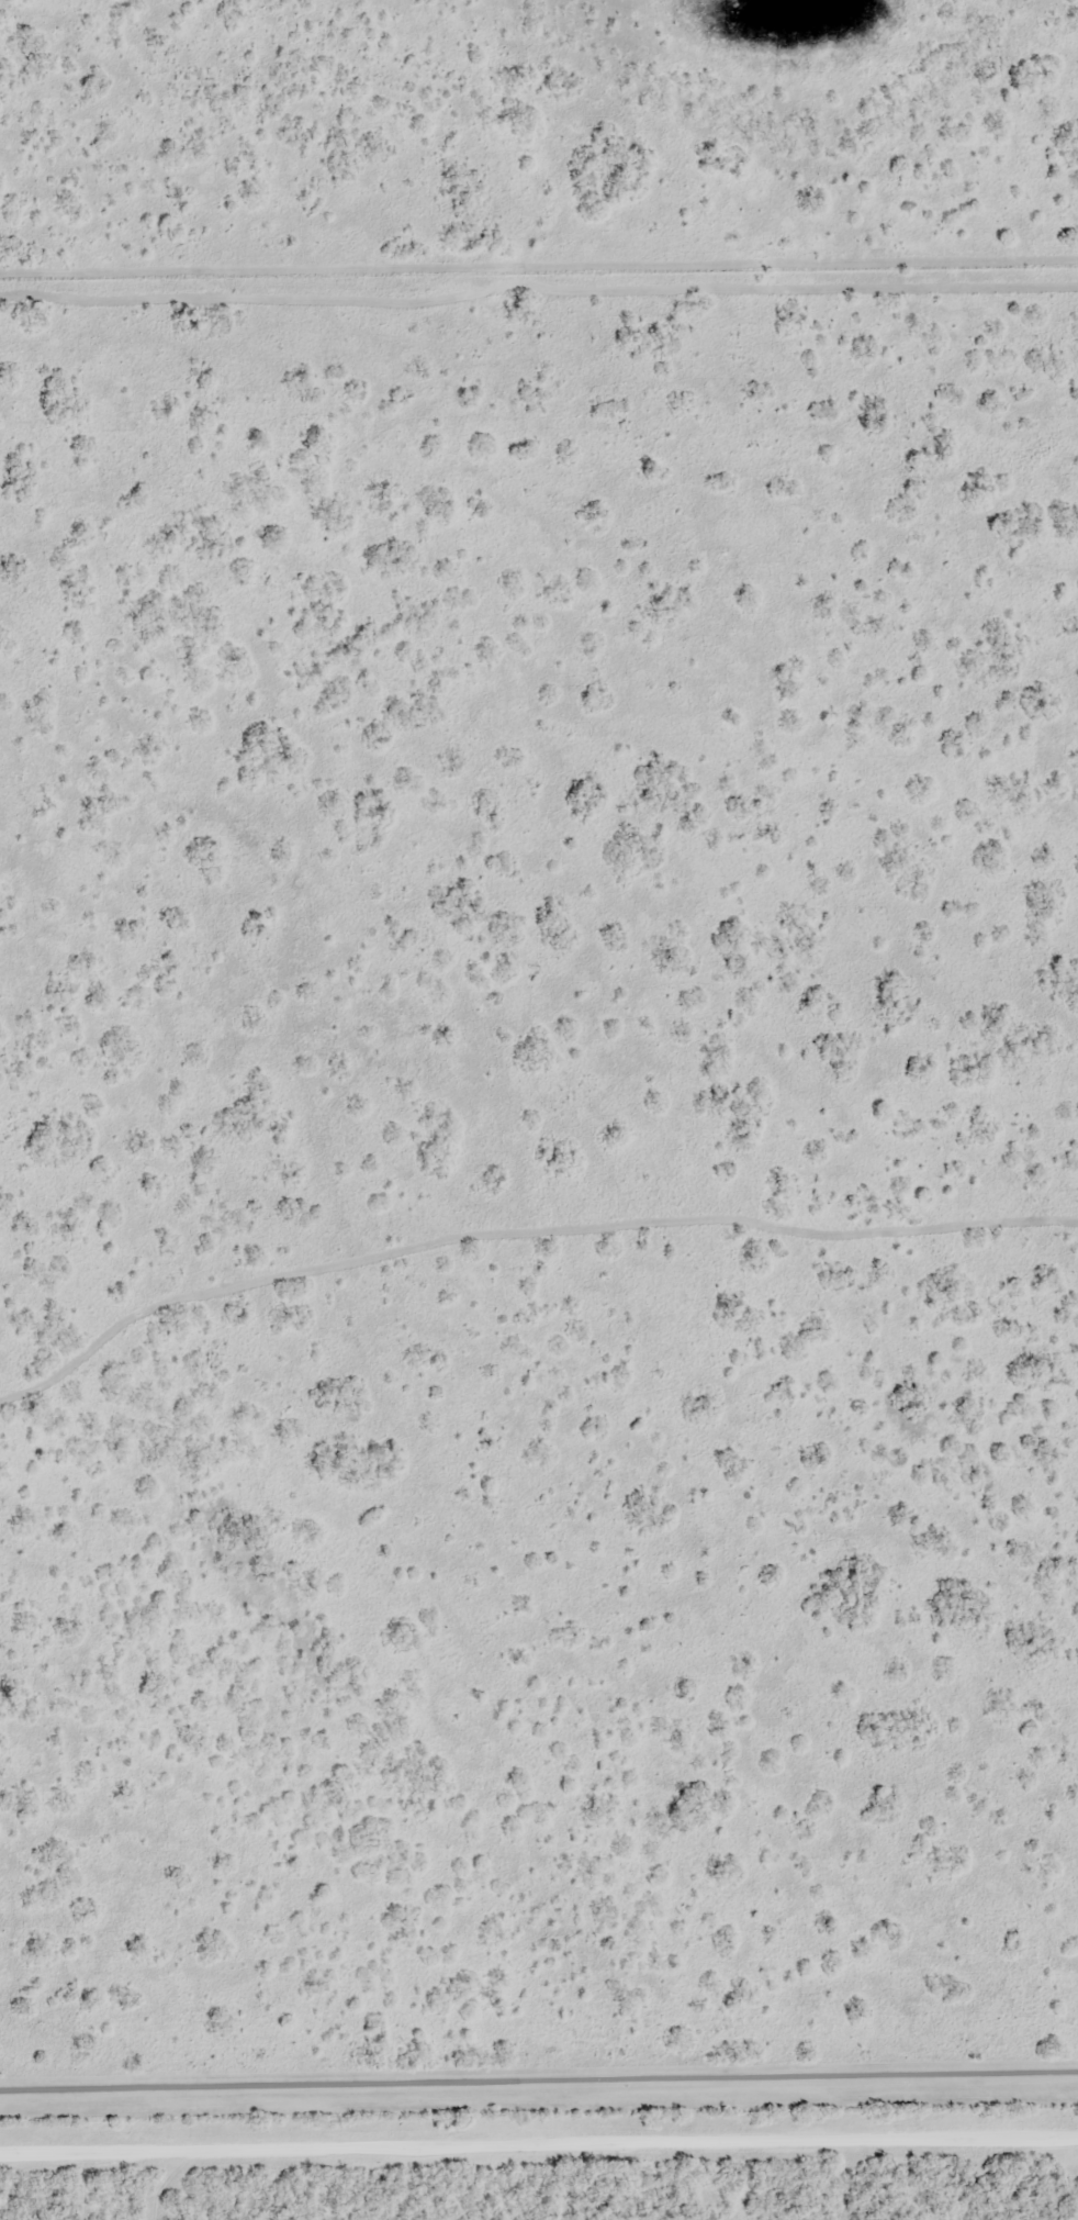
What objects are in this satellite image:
road: (539, 2093)
road: (538, 2144)

